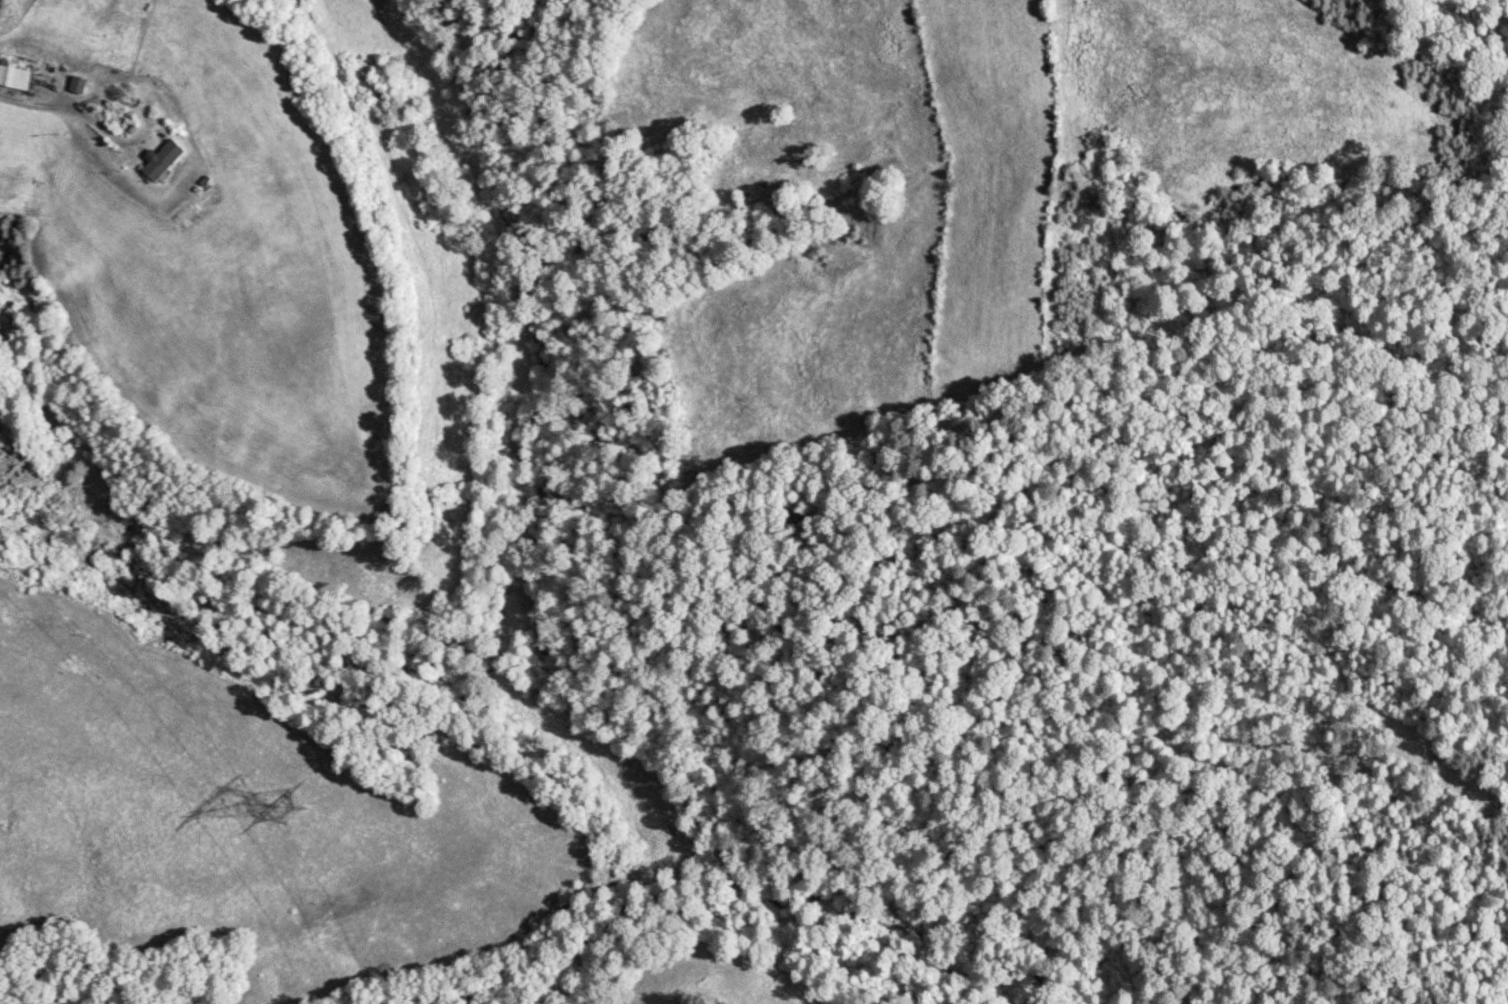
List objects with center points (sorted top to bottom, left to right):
building: (14, 78)
road: (50, 118)
building: (162, 161)
power tower: (287, 805)

